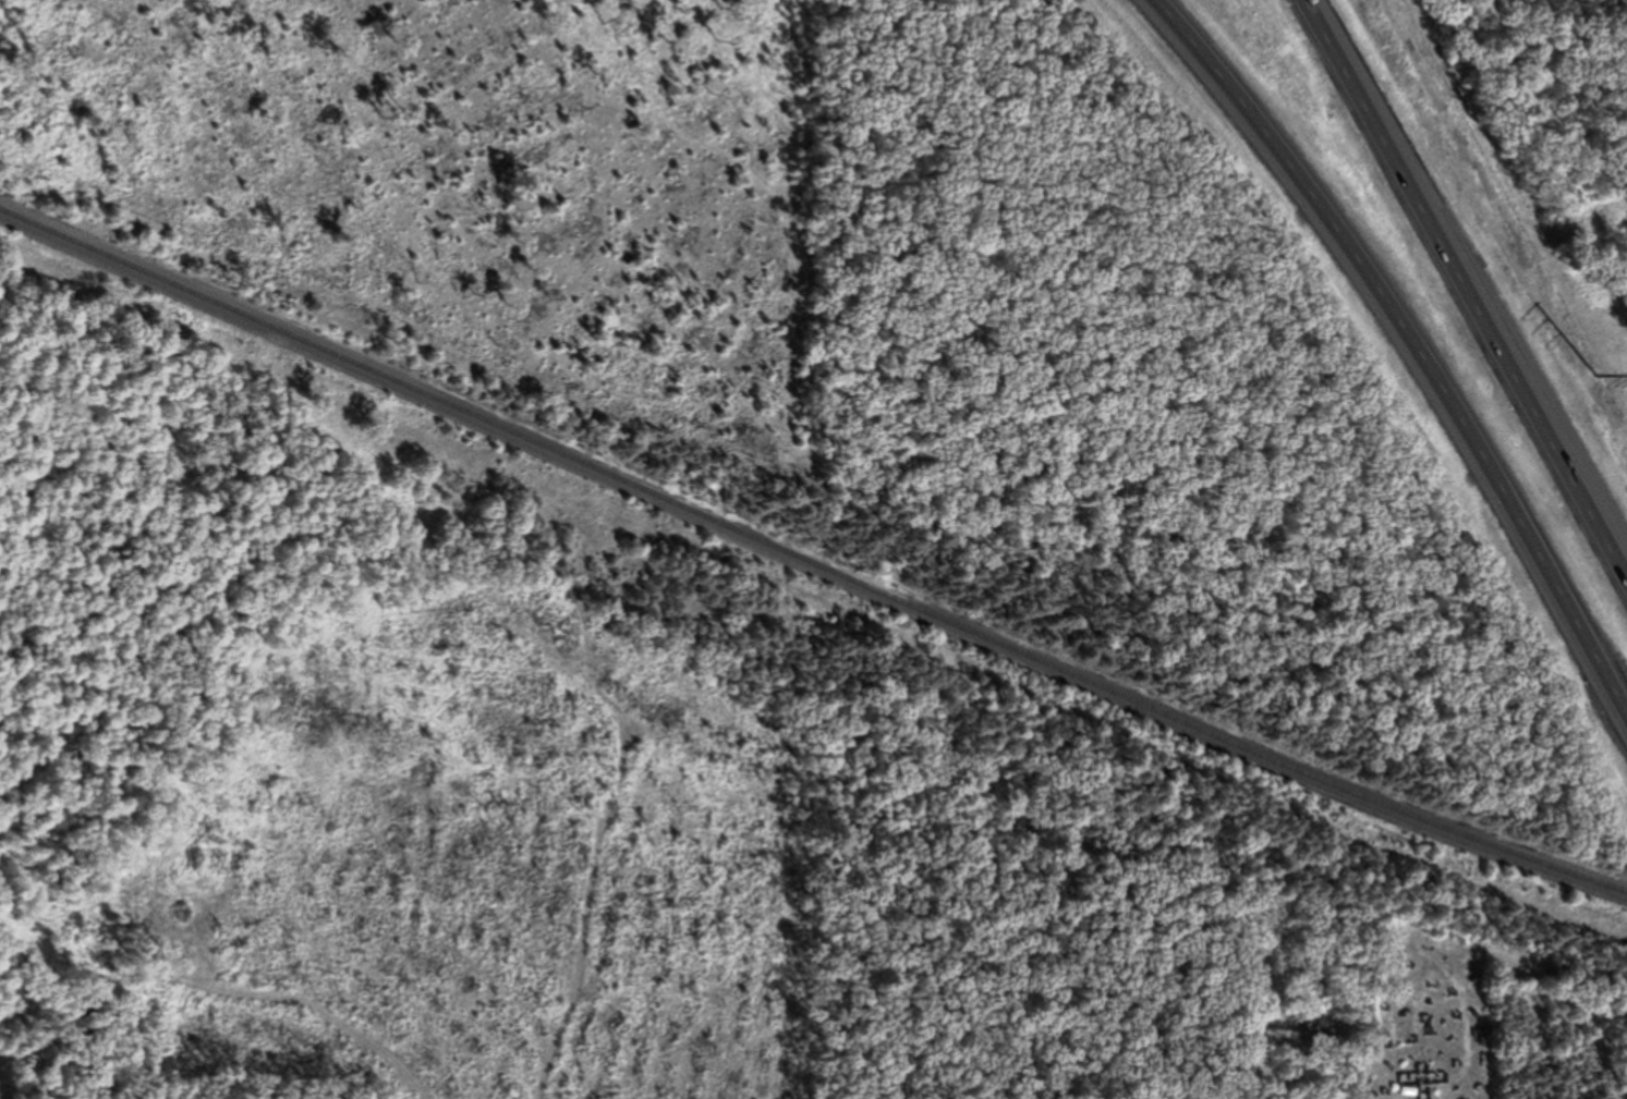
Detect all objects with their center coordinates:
road: (1474, 281)
road: (1399, 344)
power tower: (1596, 374)
railway: (810, 559)

